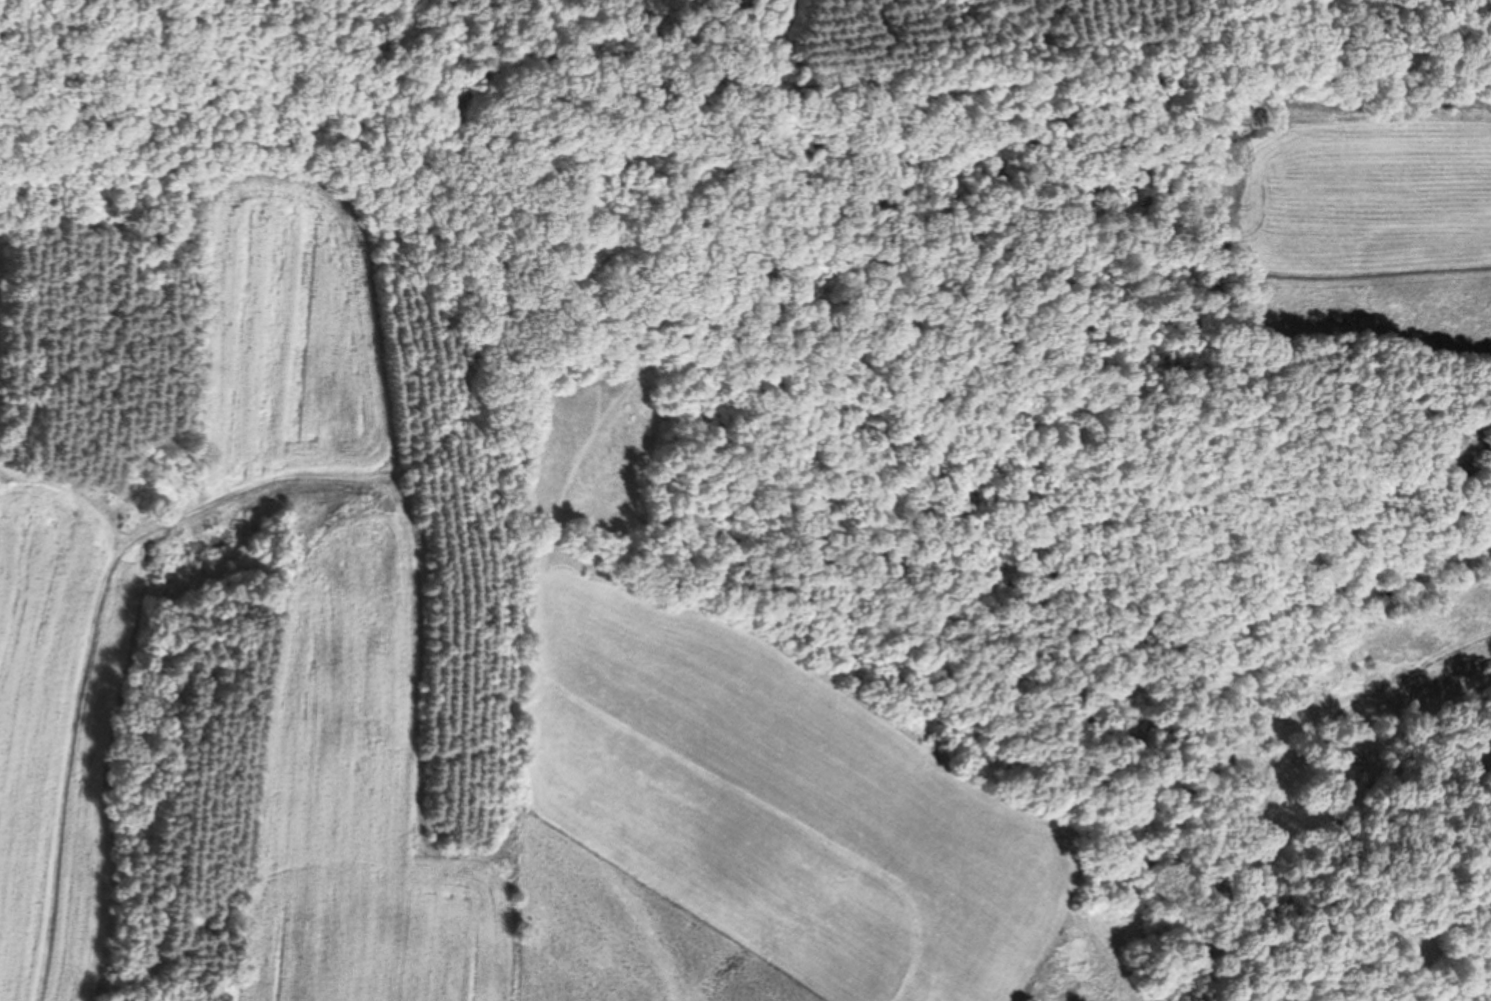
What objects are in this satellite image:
road: (103, 739)

